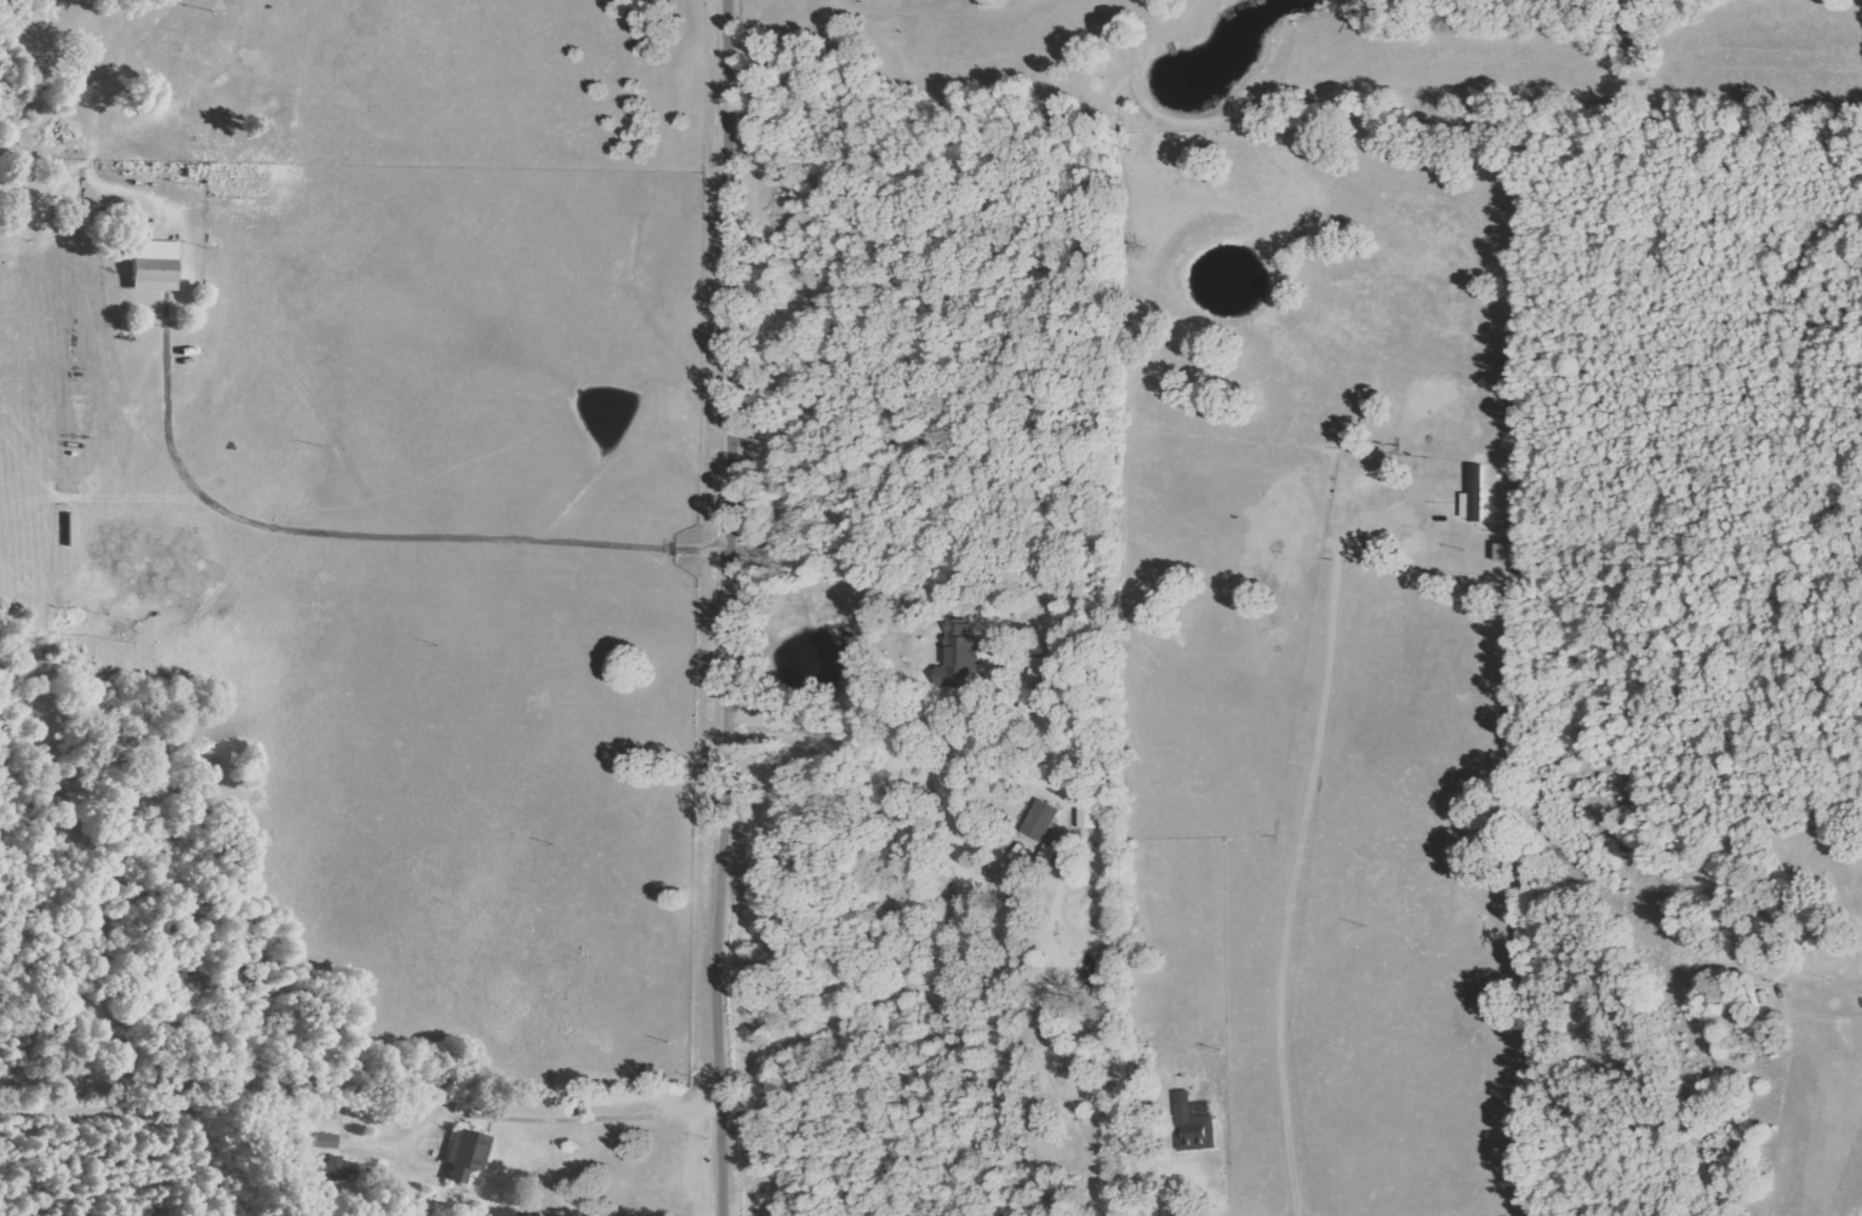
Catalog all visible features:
building: (152, 266)
building: (1473, 495)
road: (721, 607)
building: (965, 655)
building: (1092, 818)
building: (1039, 820)
building: (1192, 1125)
building: (326, 1141)
building: (465, 1154)
building: (347, 1172)

